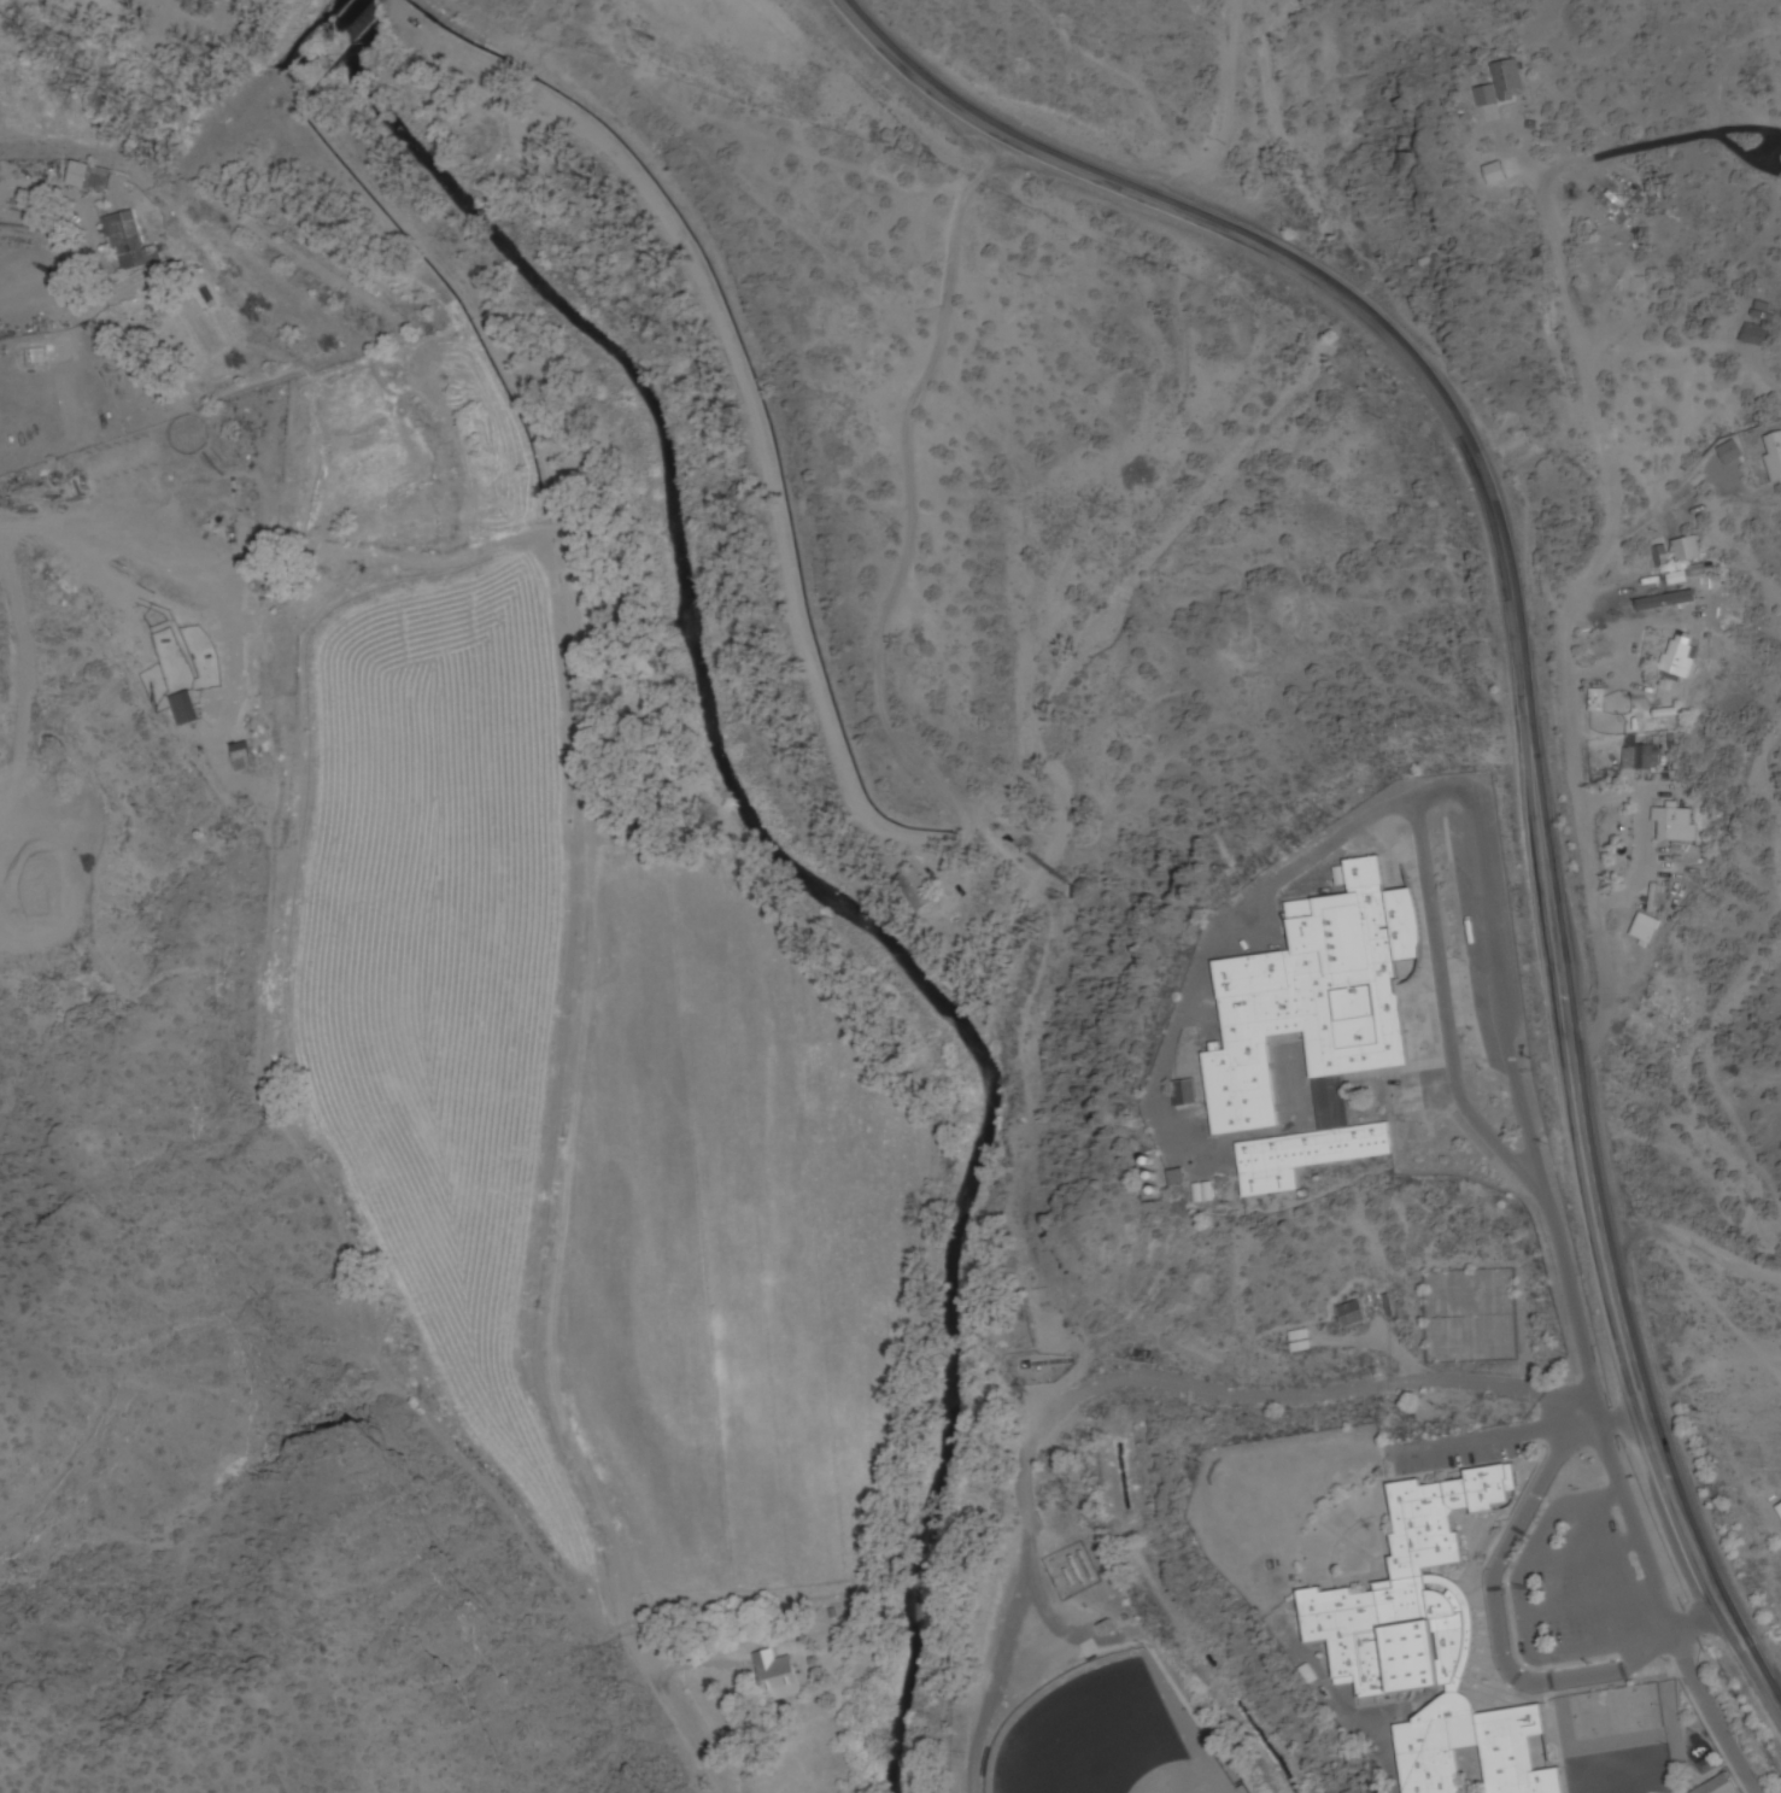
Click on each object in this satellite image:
building: (1502, 86)
road: (1217, 131)
building: (89, 177)
building: (1609, 207)
building: (127, 241)
building: (1622, 294)
building: (1753, 336)
building: (1773, 455)
building: (217, 502)
building: (1687, 550)
building: (1660, 557)
road: (1570, 597)
building: (1664, 602)
building: (1679, 657)
road: (1524, 701)
building: (182, 709)
building: (1638, 756)
building: (240, 757)
road: (1429, 799)
building: (1674, 825)
road: (907, 840)
building: (914, 891)
building: (1644, 931)
building: (1308, 1021)
building: (1183, 1094)
building: (1201, 1193)
road: (1693, 1243)
road: (1569, 1309)
building: (1349, 1314)
park: (1463, 1314)
building: (1297, 1341)
road: (1120, 1383)
building: (1779, 1511)
road: (1630, 1527)
parking lot: (1582, 1580)
road: (1490, 1621)
building: (1428, 1645)
building: (777, 1677)
road: (689, 1739)
park: (1091, 1739)
building: (1720, 1786)

